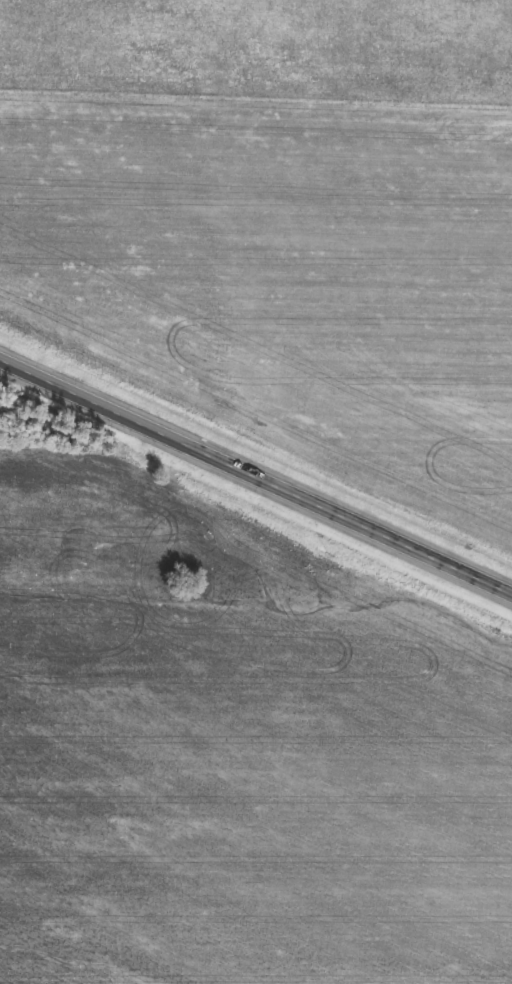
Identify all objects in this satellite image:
railway: (256, 450)
road: (255, 470)

